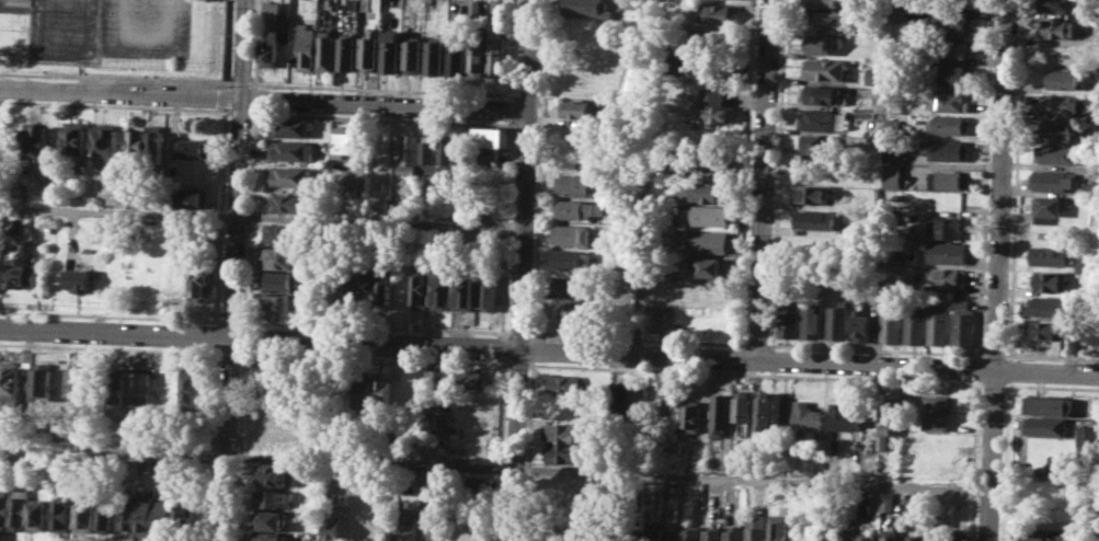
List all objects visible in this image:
building: (631, 3)
building: (823, 3)
building: (352, 4)
building: (366, 4)
building: (474, 4)
building: (271, 5)
building: (1056, 5)
building: (585, 7)
building: (500, 9)
building: (897, 10)
building: (720, 13)
building: (828, 18)
building: (954, 24)
building: (1058, 27)
parking lot: (148, 28)
road: (149, 37)
building: (822, 42)
road: (228, 43)
building: (306, 46)
building: (268, 47)
building: (955, 48)
building: (325, 49)
building: (368, 49)
road: (514, 49)
building: (390, 50)
building: (345, 51)
building: (412, 54)
building: (434, 55)
building: (477, 55)
building: (496, 56)
building: (456, 58)
building: (824, 68)
building: (954, 74)
building: (874, 76)
street lamp: (7, 77)
building: (1063, 78)
street lamp: (119, 82)
building: (824, 94)
road: (264, 97)
building: (950, 101)
building: (1061, 104)
building: (581, 107)
road: (228, 108)
road: (512, 108)
building: (714, 108)
building: (818, 119)
building: (180, 124)
building: (950, 124)
building: (290, 126)
building: (1057, 129)
building: (1, 138)
building: (79, 138)
building: (108, 139)
building: (158, 141)
building: (344, 141)
building: (490, 141)
building: (38, 142)
building: (138, 143)
building: (818, 143)
building: (197, 148)
building: (950, 149)
building: (291, 150)
building: (409, 152)
building: (1056, 153)
building: (891, 154)
building: (448, 156)
building: (430, 158)
building: (703, 161)
road: (540, 168)
road: (746, 172)
road: (778, 172)
building: (891, 174)
building: (293, 176)
road: (644, 176)
road: (984, 176)
road: (764, 179)
building: (948, 180)
road: (1014, 180)
building: (1052, 180)
building: (575, 184)
building: (26, 185)
building: (1089, 188)
building: (707, 189)
building: (813, 194)
building: (197, 196)
building: (291, 202)
building: (401, 205)
building: (577, 208)
building: (1046, 208)
building: (463, 211)
building: (707, 215)
road: (262, 216)
road: (248, 218)
building: (814, 219)
building: (18, 225)
road: (506, 228)
building: (948, 228)
building: (284, 233)
building: (574, 233)
building: (709, 241)
building: (947, 252)
building: (1048, 255)
building: (284, 257)
building: (572, 260)
building: (707, 266)
road: (232, 269)
road: (523, 270)
road: (997, 270)
building: (23, 275)
building: (947, 277)
building: (79, 279)
building: (0, 280)
building: (282, 280)
building: (203, 281)
building: (1053, 281)
building: (570, 285)
building: (421, 286)
building: (368, 287)
building: (387, 288)
building: (442, 290)
building: (463, 290)
building: (486, 290)
building: (348, 293)
building: (1048, 306)
building: (284, 307)
building: (580, 312)
road: (112, 315)
building: (655, 316)
building: (789, 318)
building: (812, 320)
building: (838, 320)
road: (231, 321)
building: (961, 323)
building: (913, 325)
road: (375, 326)
building: (861, 326)
building: (891, 326)
building: (937, 326)
building: (1090, 327)
building: (1044, 330)
road: (518, 333)
road: (244, 337)
road: (636, 338)
road: (755, 344)
road: (110, 347)
road: (504, 347)
road: (549, 348)
road: (873, 348)
road: (534, 349)
building: (565, 350)
road: (229, 353)
road: (992, 354)
road: (977, 356)
road: (1050, 356)
road: (374, 358)
road: (518, 365)
road: (976, 369)
road: (1006, 370)
building: (284, 371)
road: (754, 373)
building: (10, 375)
building: (471, 380)
building: (41, 381)
building: (79, 381)
building: (436, 381)
building: (562, 382)
building: (115, 383)
road: (991, 384)
building: (141, 385)
building: (198, 385)
building: (170, 387)
road: (1049, 387)
building: (385, 389)
building: (364, 393)
building: (283, 395)
building: (618, 396)
building: (8, 401)
building: (641, 401)
building: (741, 405)
building: (1049, 405)
building: (666, 407)
building: (783, 407)
building: (720, 410)
building: (762, 411)
building: (937, 413)
building: (692, 415)
building: (278, 416)
building: (808, 416)
building: (886, 416)
building: (843, 417)
building: (469, 423)
building: (1045, 426)
building: (563, 431)
building: (1086, 436)
building: (276, 440)
road: (240, 445)
road: (502, 449)
road: (529, 450)
building: (561, 453)
road: (973, 460)
road: (1003, 460)
road: (494, 465)
building: (276, 474)
building: (560, 485)
building: (798, 495)
building: (275, 497)
building: (889, 502)
building: (869, 503)
building: (20, 505)
building: (3, 506)
building: (913, 507)
building: (145, 511)
building: (64, 514)
building: (38, 515)
building: (127, 516)
building: (87, 517)
building: (163, 518)
building: (106, 519)
building: (271, 519)
building: (185, 520)
building: (409, 525)
building: (437, 526)
building: (334, 527)
building: (779, 527)
building: (757, 528)
building: (831, 530)
building: (848, 531)
building: (735, 532)
building: (599, 533)
building: (937, 533)
building: (1045, 533)
building: (690, 534)
building: (712, 534)
building: (892, 534)
building: (270, 537)
building: (869, 538)
building: (958, 538)
building: (669, 539)
building: (915, 539)

